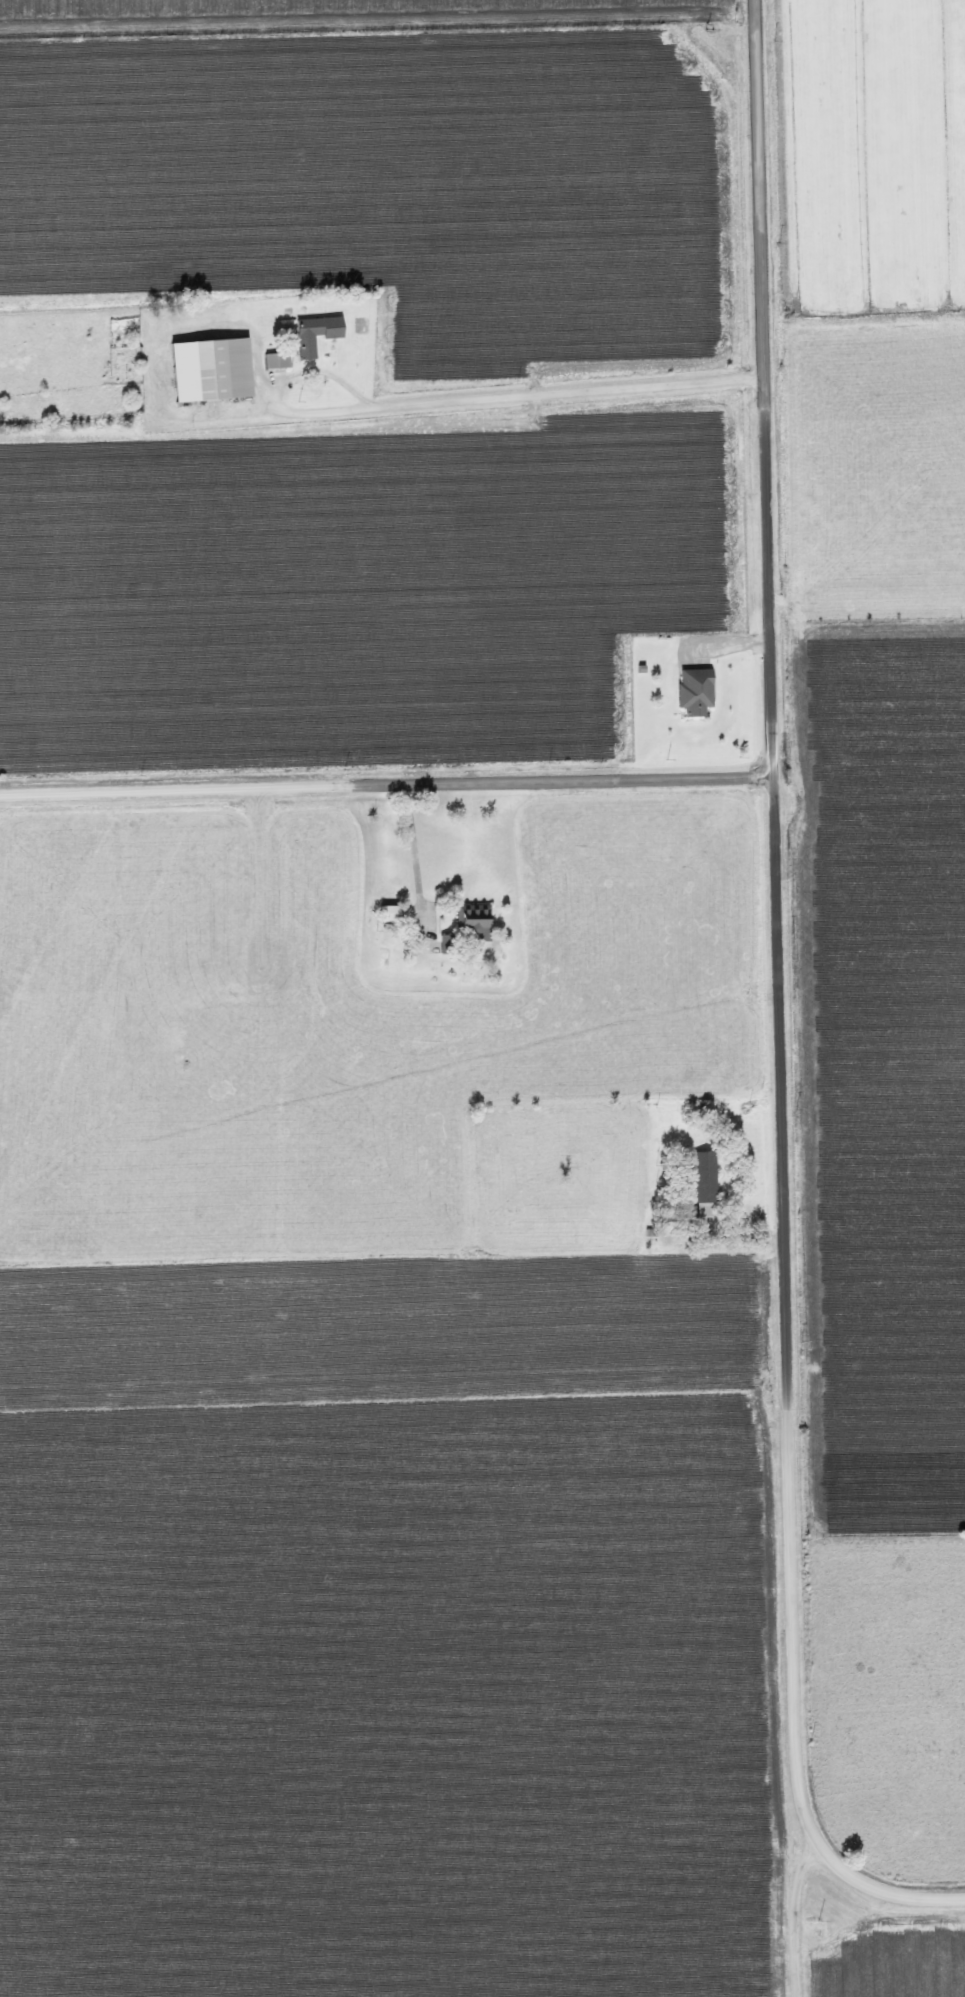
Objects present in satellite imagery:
building: (317, 333)
building: (279, 360)
building: (214, 369)
road: (492, 392)
building: (686, 691)
road: (388, 784)
road: (408, 860)
building: (380, 913)
building: (465, 927)
building: (437, 944)
road: (781, 1006)
building: (696, 1183)
road: (790, 1916)

